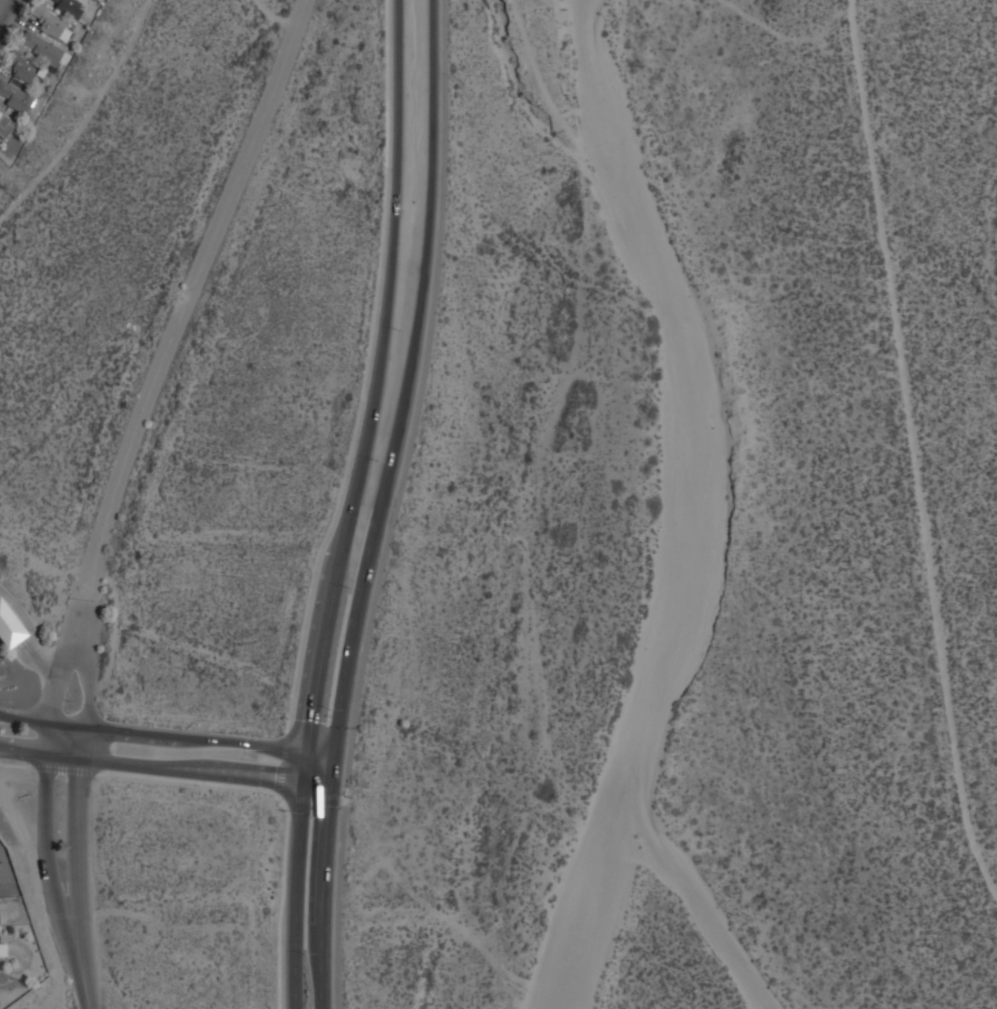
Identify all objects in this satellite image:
building: (69, 7)
road: (6, 11)
building: (51, 23)
building: (41, 48)
building: (23, 69)
building: (14, 97)
building: (5, 124)
road: (177, 318)
road: (366, 369)
road: (347, 504)
road: (380, 504)
river: (685, 507)
building: (9, 627)
road: (56, 682)
road: (84, 685)
road: (165, 736)
traffic signals: (308, 750)
traffic signals: (331, 753)
road: (282, 762)
road: (164, 763)
traffic signals: (306, 771)
traffic signals: (329, 774)
road: (270, 785)
road: (311, 792)
road: (42, 824)
road: (78, 824)
building: (3, 949)
road: (78, 964)
building: (0, 977)

